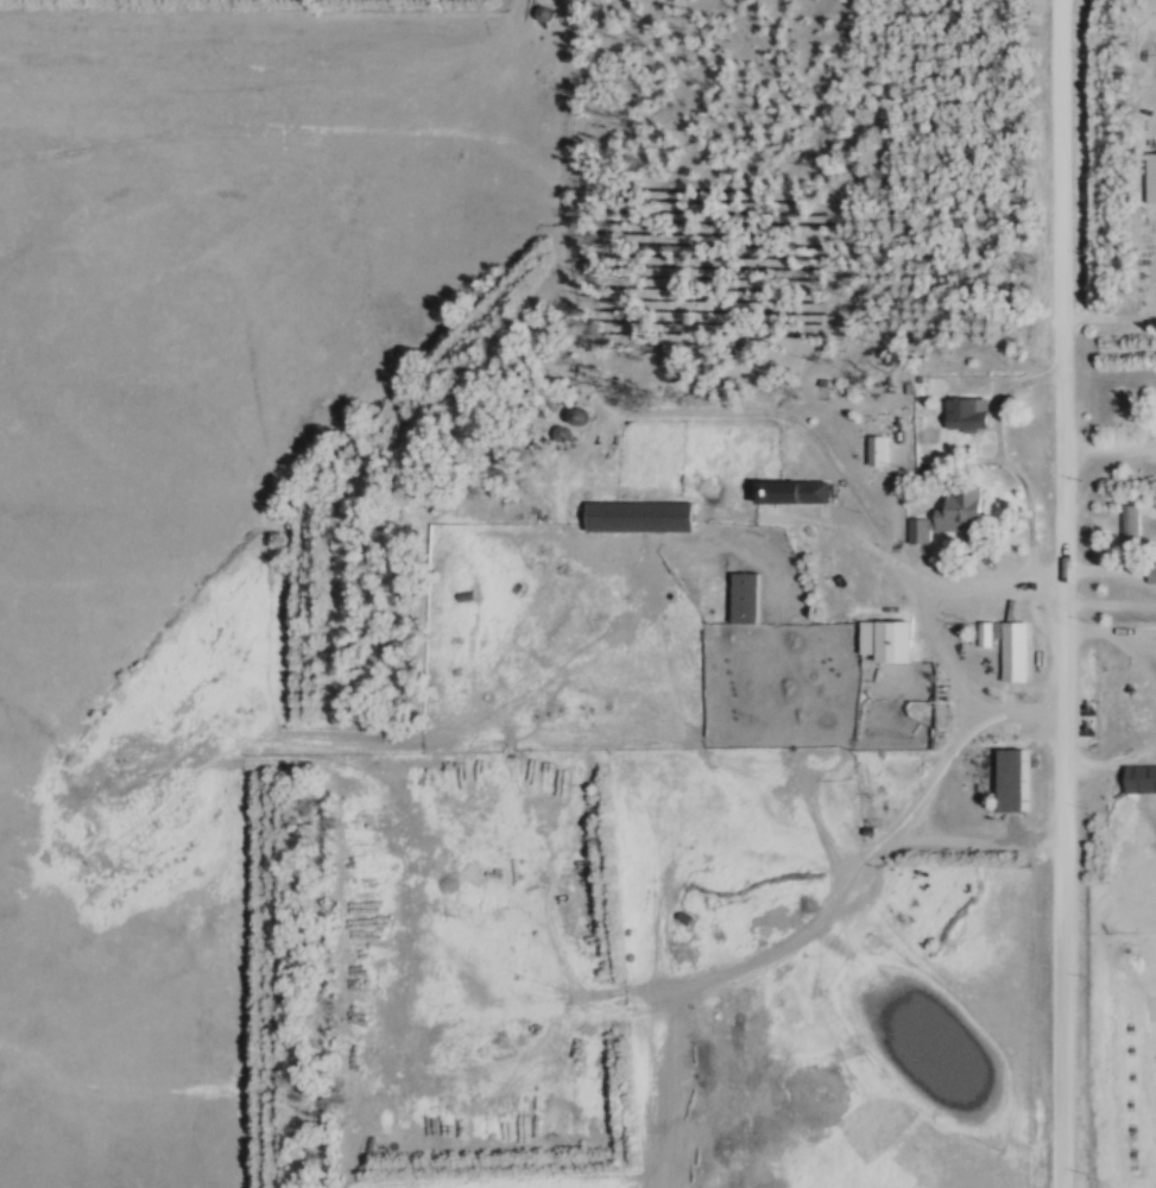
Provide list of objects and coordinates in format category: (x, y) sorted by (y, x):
building: (1151, 179)
building: (971, 415)
building: (575, 418)
building: (874, 451)
building: (790, 494)
building: (953, 517)
building: (642, 518)
building: (1129, 529)
building: (1151, 575)
road: (1066, 593)
building: (744, 600)
road: (1111, 631)
building: (887, 642)
building: (1016, 653)
road: (1016, 710)
road: (943, 759)
road: (1113, 764)
building: (1139, 781)
building: (1013, 782)

